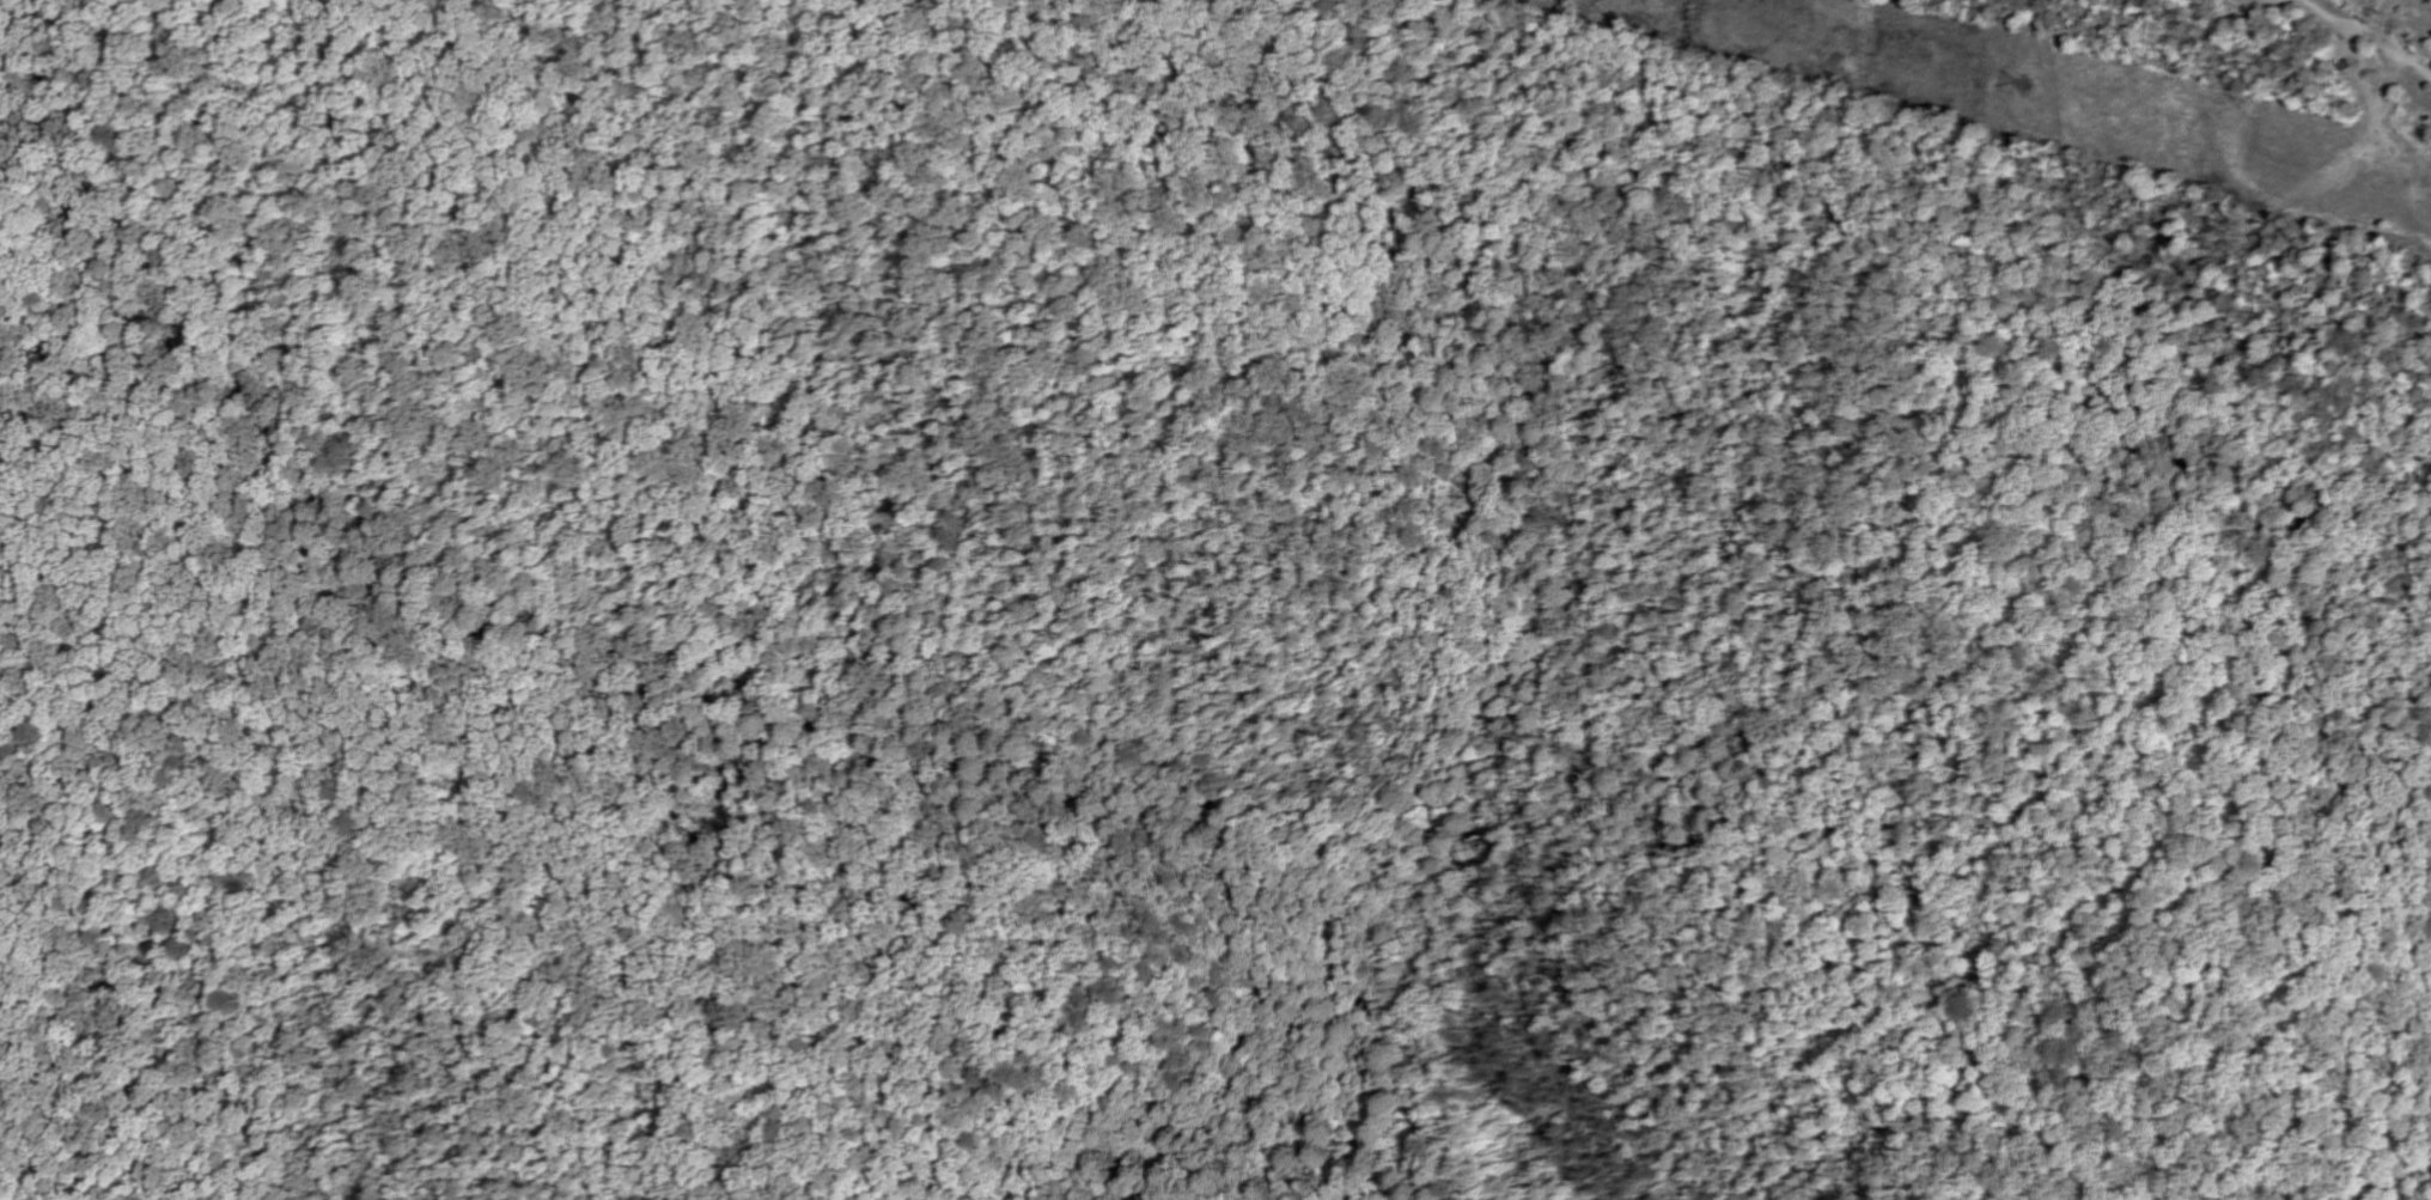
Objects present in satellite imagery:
road: (2369, 24)

